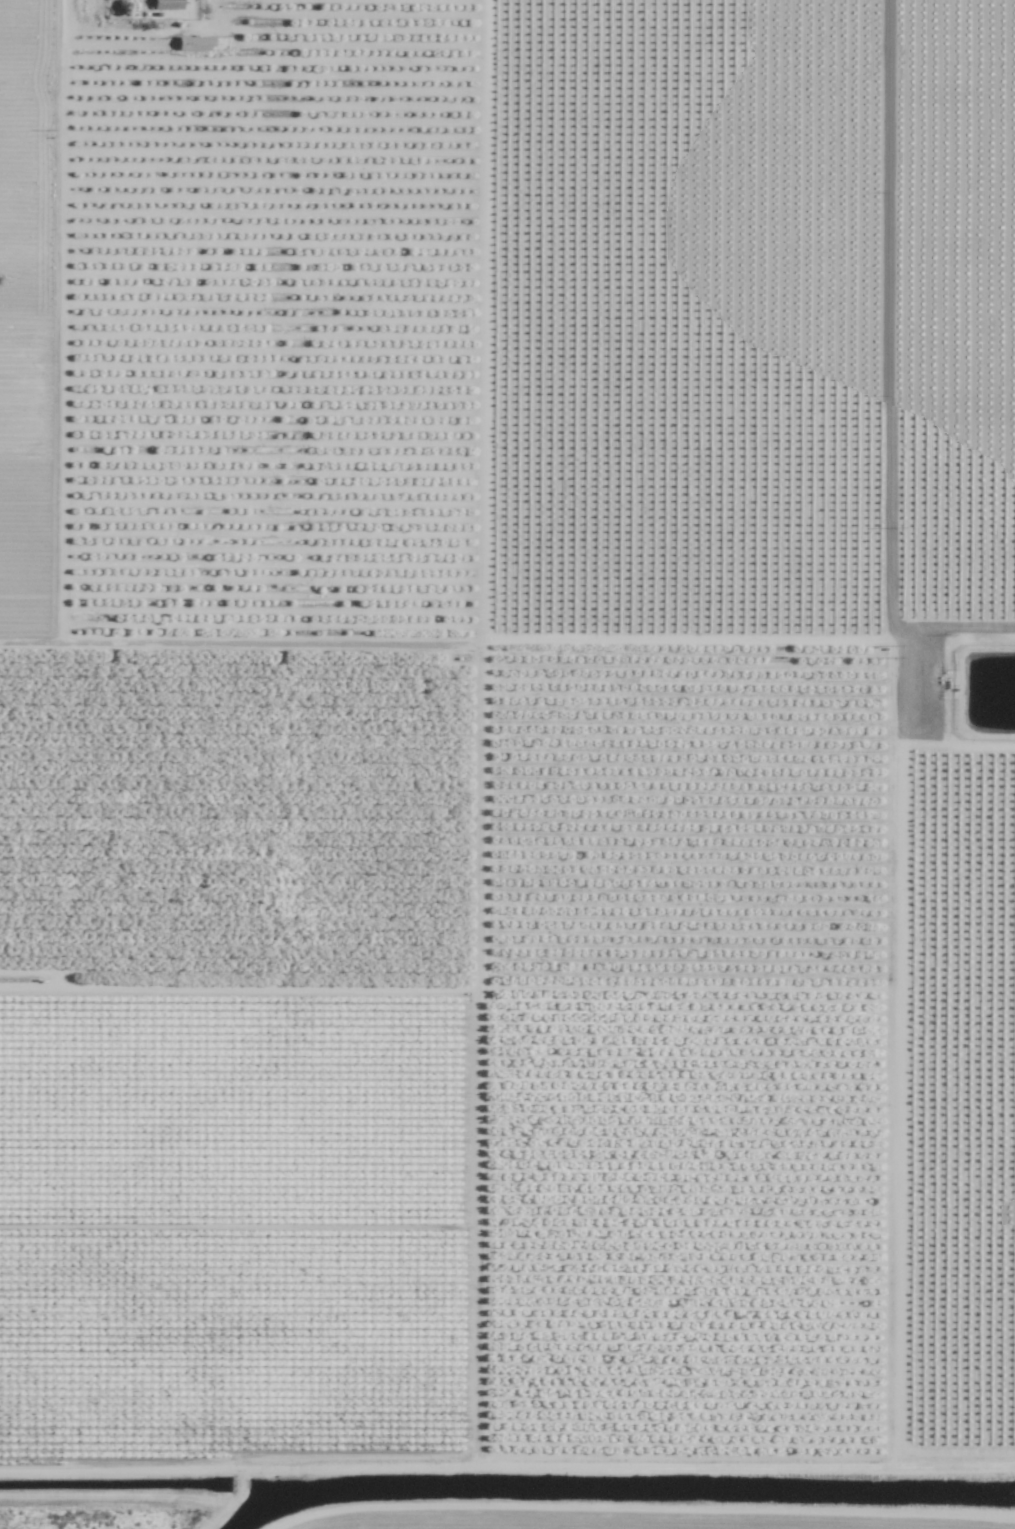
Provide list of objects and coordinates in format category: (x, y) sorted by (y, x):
building: (165, 4)
road: (137, 22)
building: (192, 43)
road: (60, 348)

